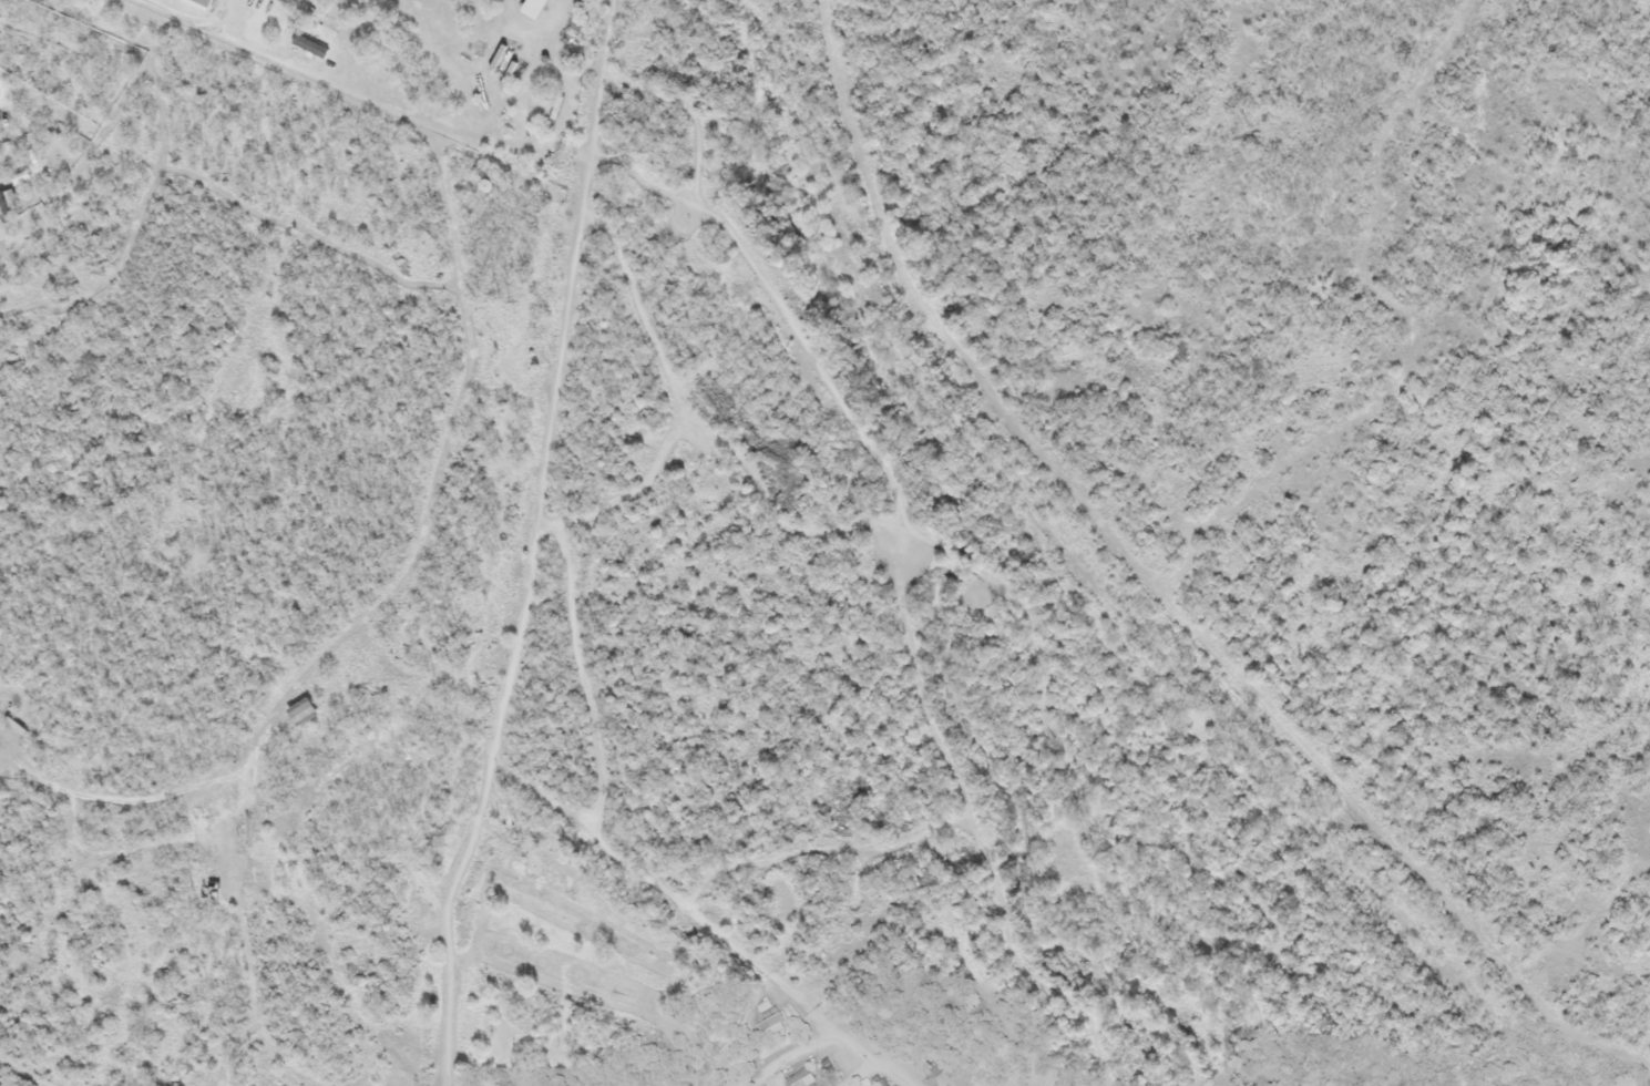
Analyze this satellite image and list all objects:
building: (198, 3)
building: (531, 8)
building: (307, 48)
building: (18, 178)
building: (7, 203)
road: (464, 318)
railway: (1118, 574)
building: (299, 713)
building: (772, 1027)
road: (828, 1038)
road: (855, 1076)
building: (800, 1079)
building: (1055, 1083)

